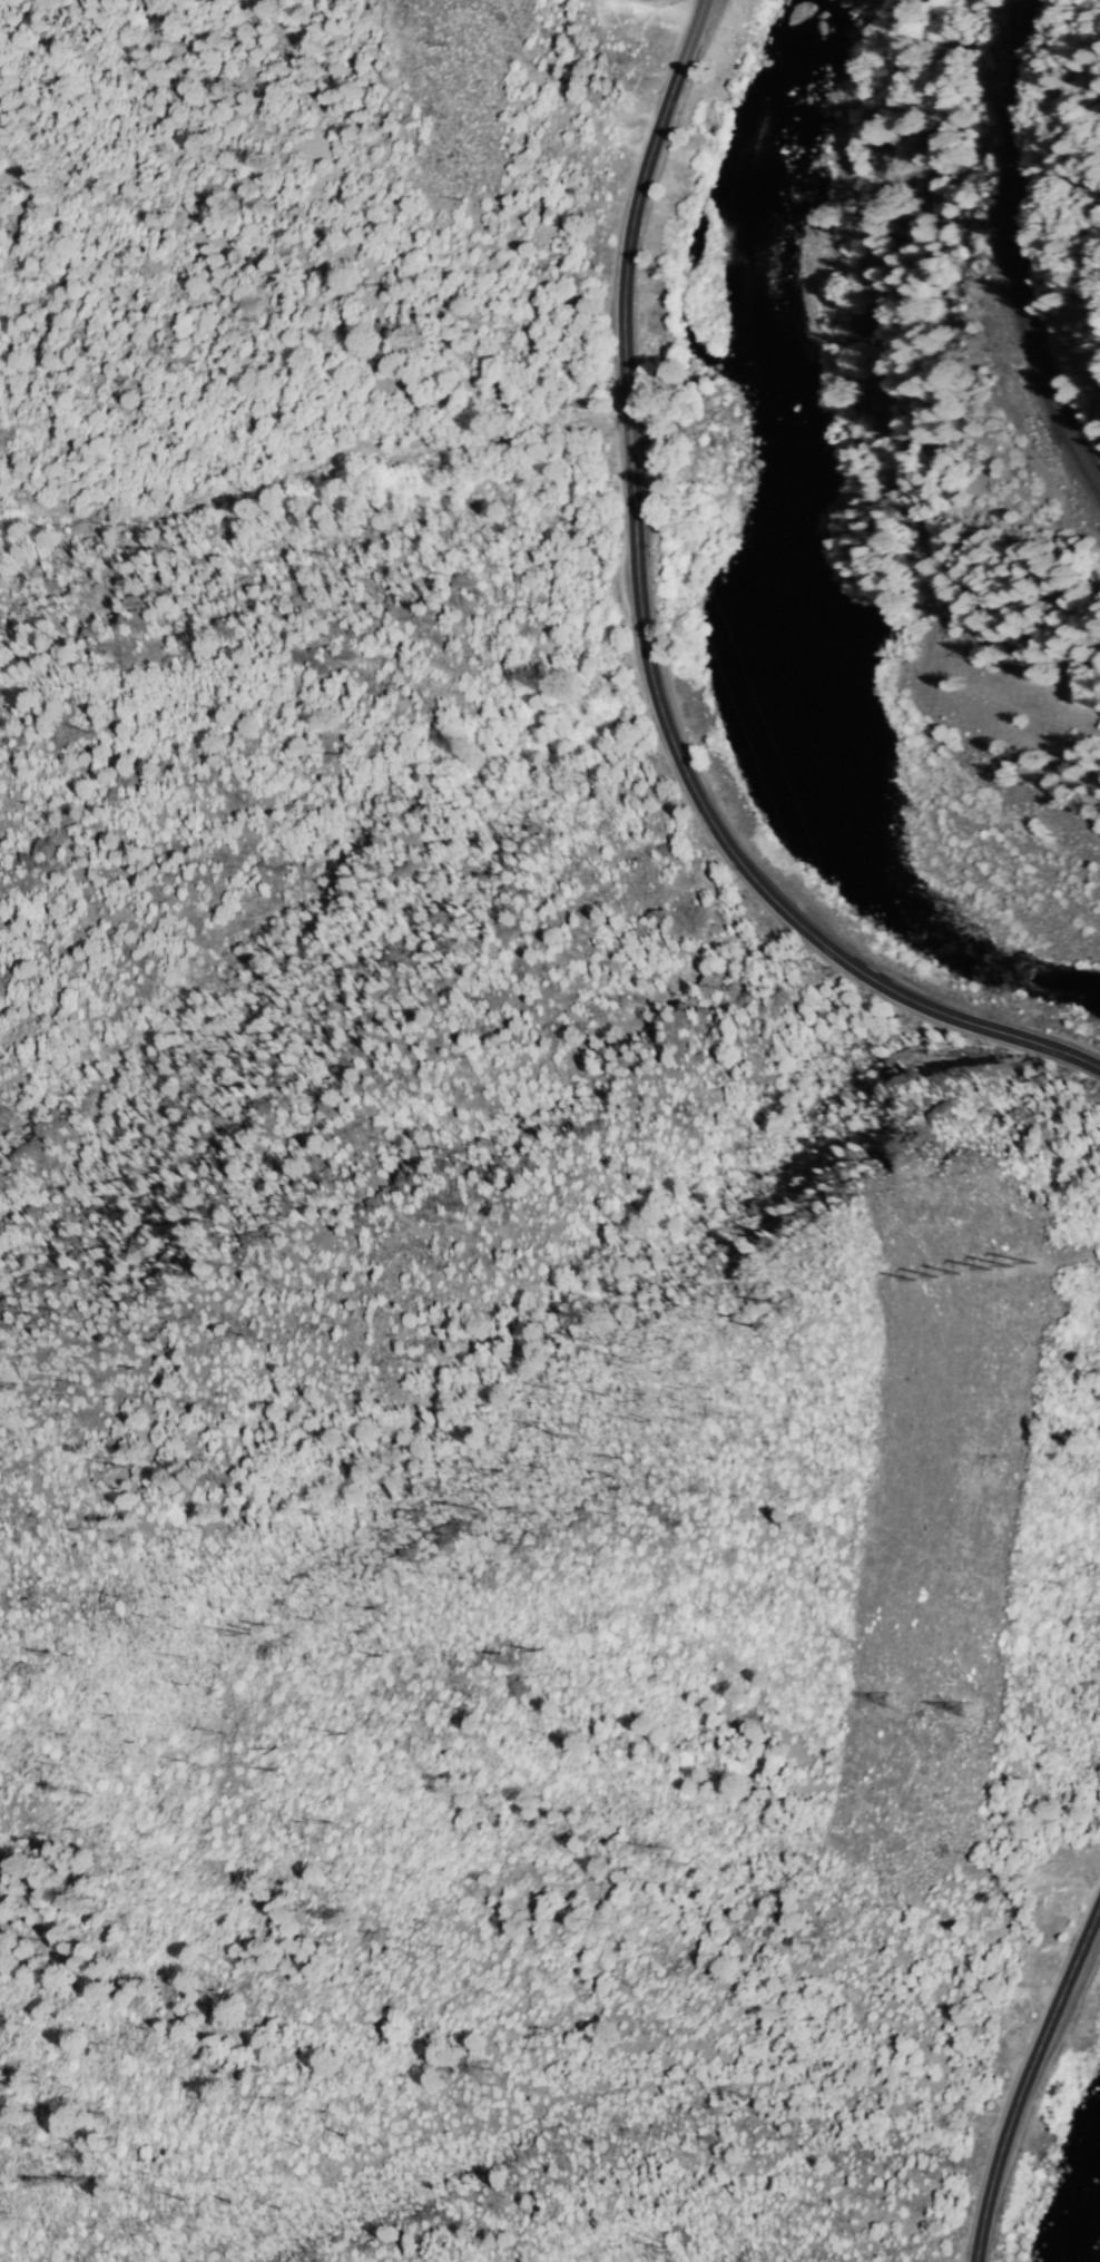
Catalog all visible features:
river: (787, 100)
railway: (1012, 253)
river: (777, 325)
river: (789, 541)
road: (647, 646)
river: (823, 752)
river: (964, 966)
power tower: (1014, 1266)
power tower: (940, 1275)
power tower: (893, 1701)
power tower: (968, 1710)
road: (1024, 2080)
river: (1083, 2200)

